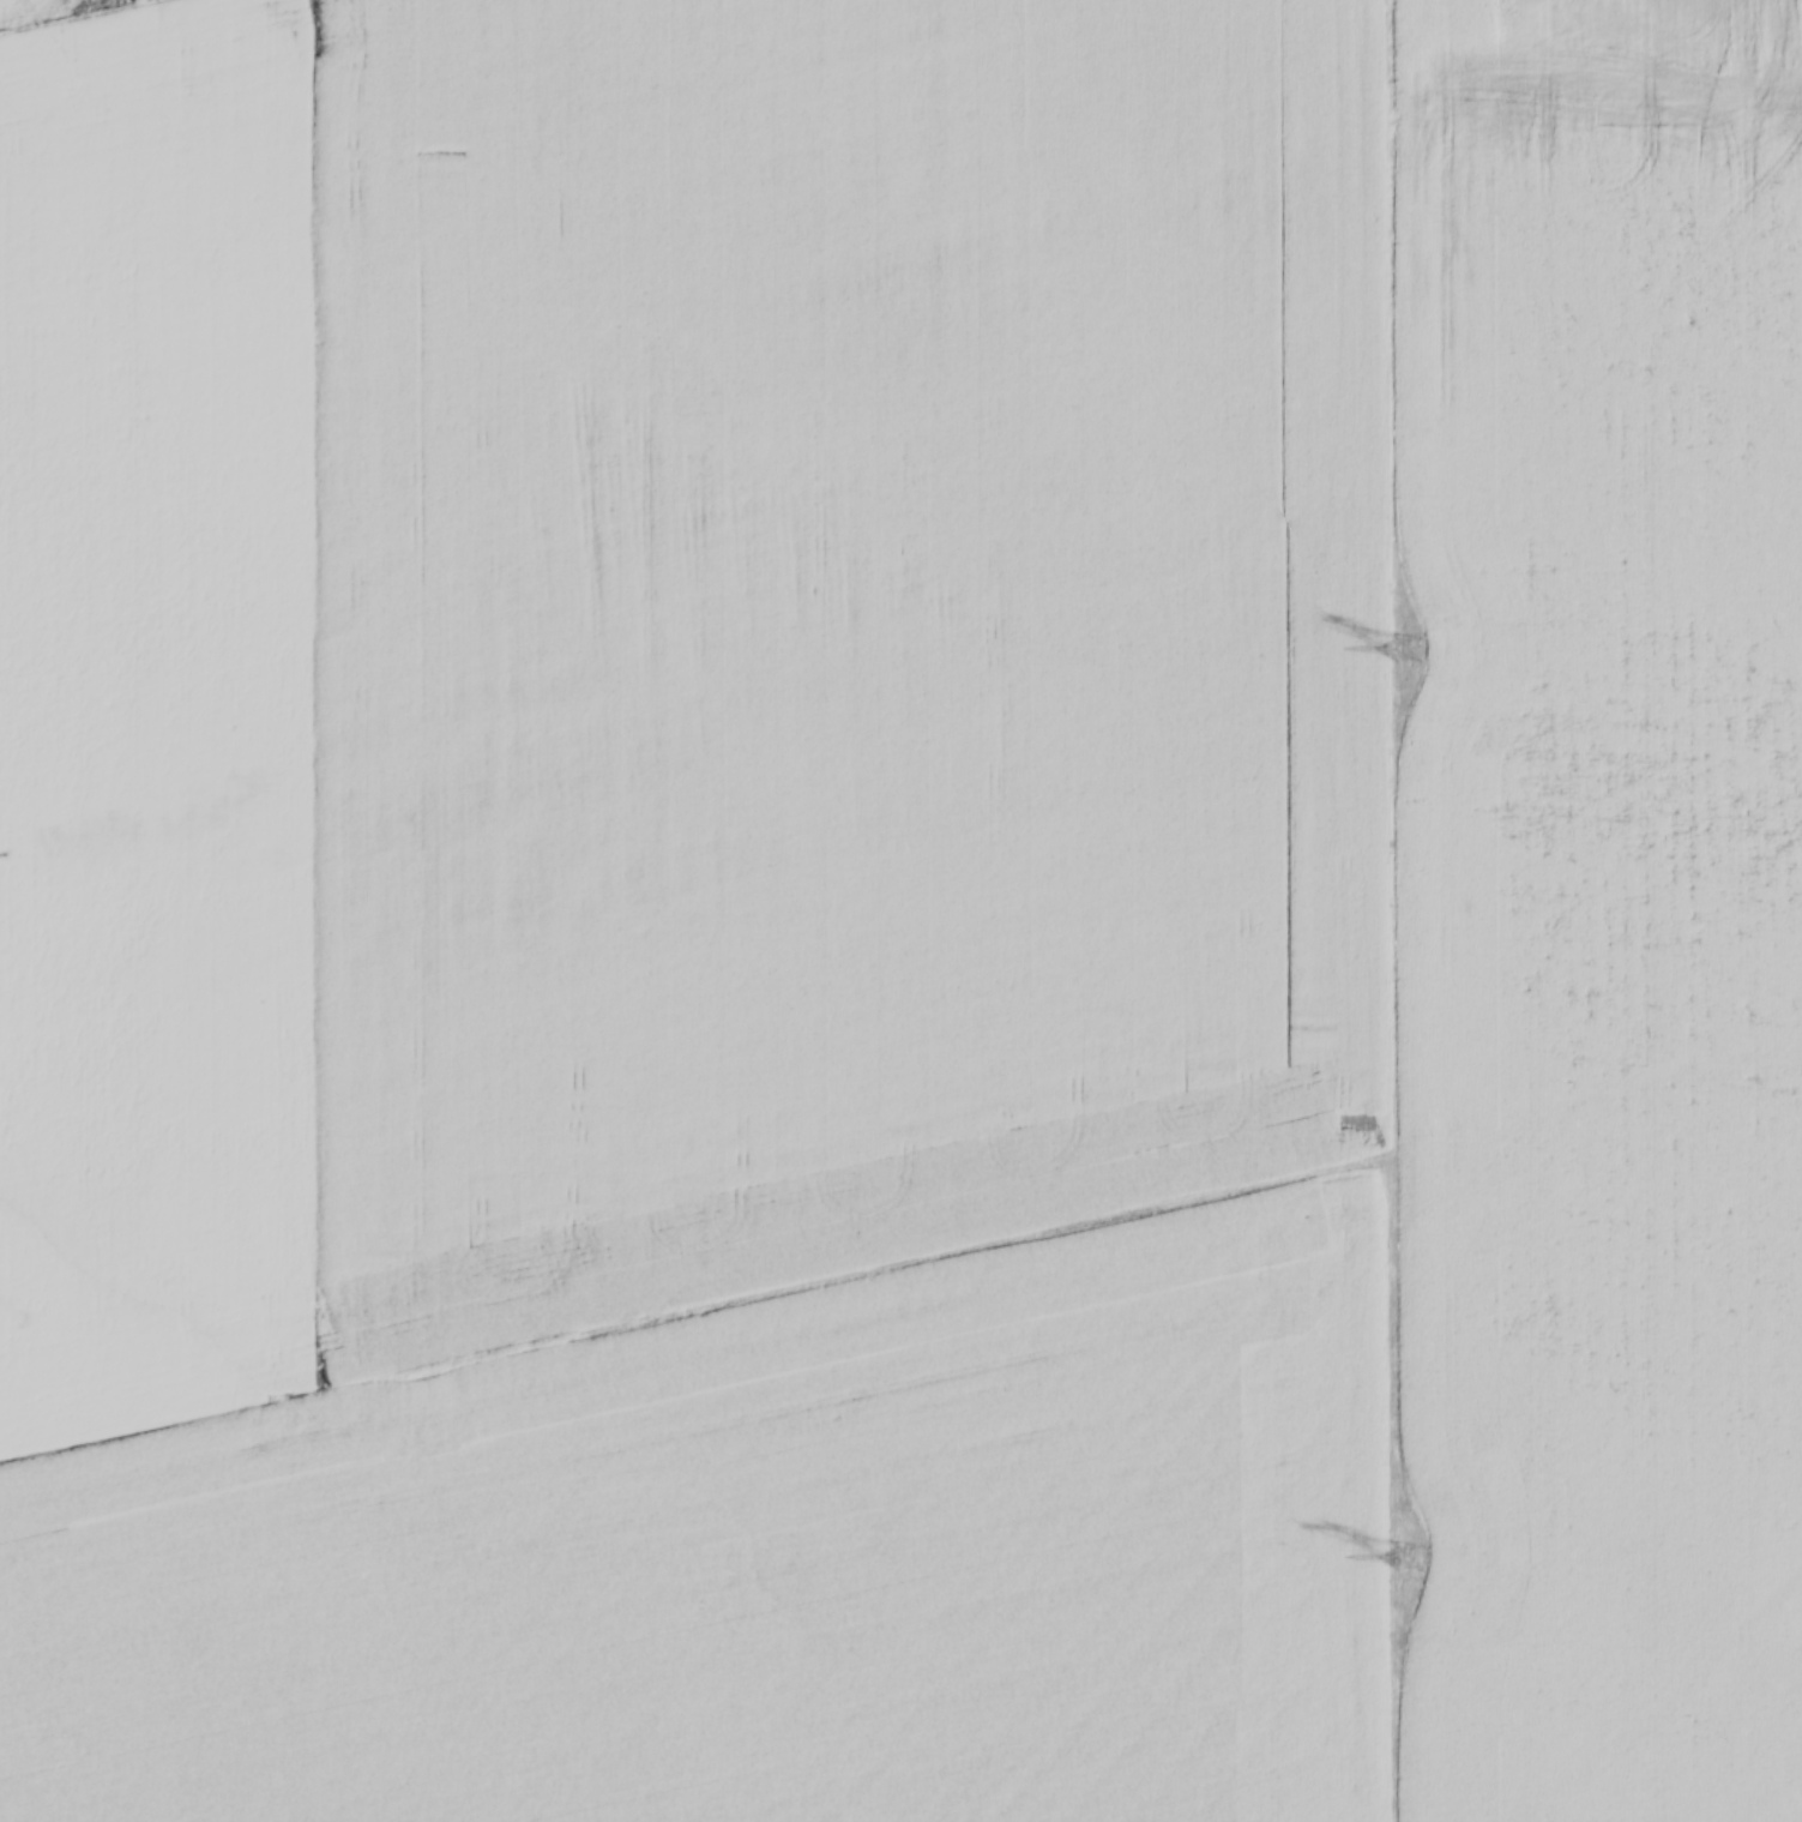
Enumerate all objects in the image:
power tower: (1410, 653)
power tower: (1418, 1563)

